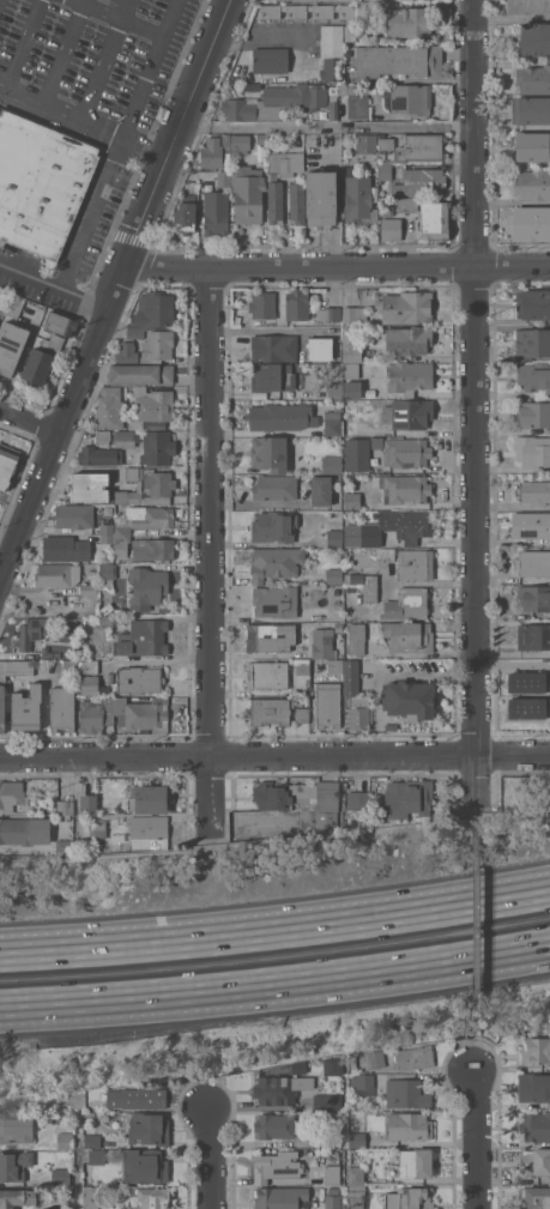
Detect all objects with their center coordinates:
building: (368, 6)
building: (527, 6)
building: (314, 13)
road: (122, 14)
road: (513, 18)
building: (409, 20)
building: (534, 38)
road: (25, 42)
building: (332, 53)
road: (107, 58)
building: (270, 60)
building: (399, 60)
parking lot: (92, 61)
building: (533, 79)
road: (20, 90)
building: (356, 98)
building: (411, 98)
building: (274, 102)
building: (332, 105)
building: (531, 110)
road: (99, 122)
road: (330, 126)
building: (261, 138)
road: (149, 143)
building: (367, 143)
building: (240, 144)
building: (532, 146)
building: (416, 147)
building: (211, 153)
building: (226, 157)
building: (285, 163)
building: (385, 171)
building: (223, 177)
building: (41, 181)
building: (421, 182)
building: (532, 185)
building: (248, 193)
building: (320, 197)
building: (357, 198)
building: (276, 199)
building: (297, 204)
building: (406, 205)
road: (96, 210)
building: (386, 211)
building: (216, 213)
building: (185, 214)
building: (433, 219)
building: (528, 223)
building: (391, 229)
road: (338, 267)
road: (55, 283)
road: (116, 289)
building: (4, 298)
building: (262, 304)
building: (297, 304)
building: (533, 304)
building: (14, 307)
building: (405, 307)
building: (151, 313)
building: (328, 313)
building: (355, 314)
building: (60, 324)
building: (407, 340)
building: (55, 343)
building: (532, 344)
building: (11, 346)
building: (157, 346)
building: (350, 346)
building: (274, 347)
building: (320, 347)
building: (127, 352)
building: (37, 367)
building: (140, 374)
building: (533, 376)
building: (272, 377)
building: (409, 377)
building: (351, 382)
road: (477, 400)
building: (385, 401)
building: (151, 405)
building: (110, 409)
building: (411, 413)
building: (532, 413)
building: (278, 417)
road: (28, 421)
building: (332, 423)
building: (350, 427)
building: (102, 436)
building: (126, 437)
building: (376, 442)
building: (157, 447)
building: (532, 451)
building: (406, 452)
building: (270, 453)
building: (357, 454)
building: (99, 455)
building: (7, 464)
building: (332, 464)
building: (131, 472)
building: (87, 486)
building: (274, 486)
building: (149, 489)
building: (405, 489)
building: (321, 490)
building: (533, 492)
building: (352, 501)
road: (514, 507)
building: (117, 508)
building: (74, 515)
building: (140, 524)
building: (406, 524)
building: (531, 525)
building: (273, 526)
building: (105, 533)
building: (353, 534)
building: (334, 538)
road: (211, 546)
building: (60, 548)
building: (152, 549)
building: (386, 555)
building: (276, 562)
building: (533, 563)
building: (416, 564)
building: (91, 573)
building: (56, 574)
building: (107, 575)
building: (333, 576)
building: (368, 584)
building: (147, 587)
building: (89, 588)
building: (533, 598)
building: (276, 600)
building: (406, 604)
building: (337, 606)
building: (105, 619)
building: (338, 627)
building: (31, 631)
building: (409, 636)
building: (533, 636)
building: (271, 637)
building: (356, 637)
building: (143, 639)
building: (322, 645)
building: (49, 653)
building: (334, 665)
building: (90, 666)
building: (301, 666)
building: (19, 667)
building: (69, 667)
building: (2, 670)
building: (267, 673)
building: (350, 677)
building: (139, 681)
building: (528, 682)
building: (91, 685)
building: (410, 700)
building: (328, 705)
building: (528, 707)
building: (2, 708)
building: (26, 708)
building: (62, 708)
building: (270, 711)
building: (358, 712)
building: (146, 714)
building: (302, 714)
road: (274, 757)
building: (11, 794)
building: (407, 798)
building: (147, 799)
building: (301, 799)
building: (90, 804)
building: (358, 804)
building: (65, 808)
road: (475, 809)
building: (97, 829)
building: (25, 830)
building: (149, 832)
building: (65, 846)
road: (475, 926)
road: (276, 931)
road: (274, 985)
building: (536, 1050)
road: (473, 1051)
building: (413, 1057)
building: (371, 1059)
building: (352, 1060)
building: (330, 1065)
building: (362, 1081)
building: (534, 1089)
building: (278, 1090)
building: (406, 1093)
building: (137, 1098)
building: (47, 1100)
building: (325, 1101)
building: (95, 1108)
building: (274, 1125)
building: (17, 1126)
building: (409, 1126)
building: (534, 1126)
building: (149, 1129)
road: (477, 1138)
building: (65, 1140)
building: (357, 1140)
building: (92, 1141)
building: (324, 1141)
building: (97, 1156)
road: (211, 1157)
building: (534, 1161)
building: (413, 1163)
building: (14, 1165)
building: (144, 1166)
building: (276, 1166)
building: (331, 1174)
building: (60, 1177)
building: (356, 1177)
building: (333, 1190)
building: (355, 1196)
building: (16, 1197)
building: (90, 1197)
building: (149, 1197)
building: (536, 1197)
building: (282, 1198)
building: (409, 1198)
building: (332, 1202)

